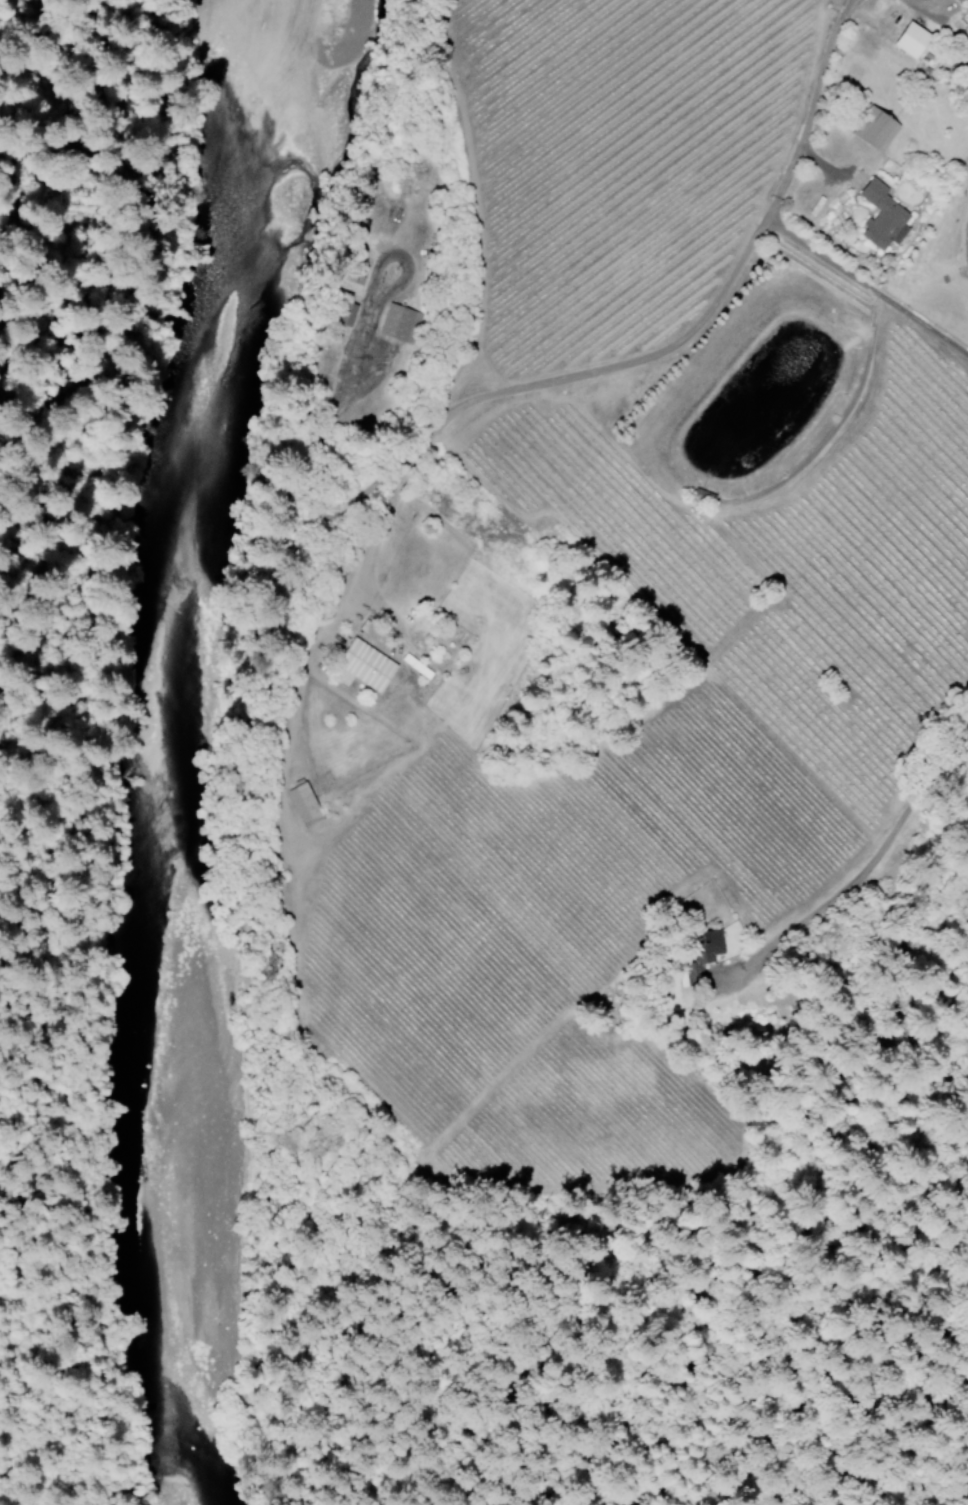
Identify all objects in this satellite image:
building: (909, 40)
road: (64, 118)
building: (874, 129)
building: (881, 215)
building: (347, 280)
building: (345, 313)
building: (398, 323)
building: (367, 628)
building: (363, 666)
river: (166, 733)
building: (302, 802)
building: (699, 954)
road: (2, 1502)

